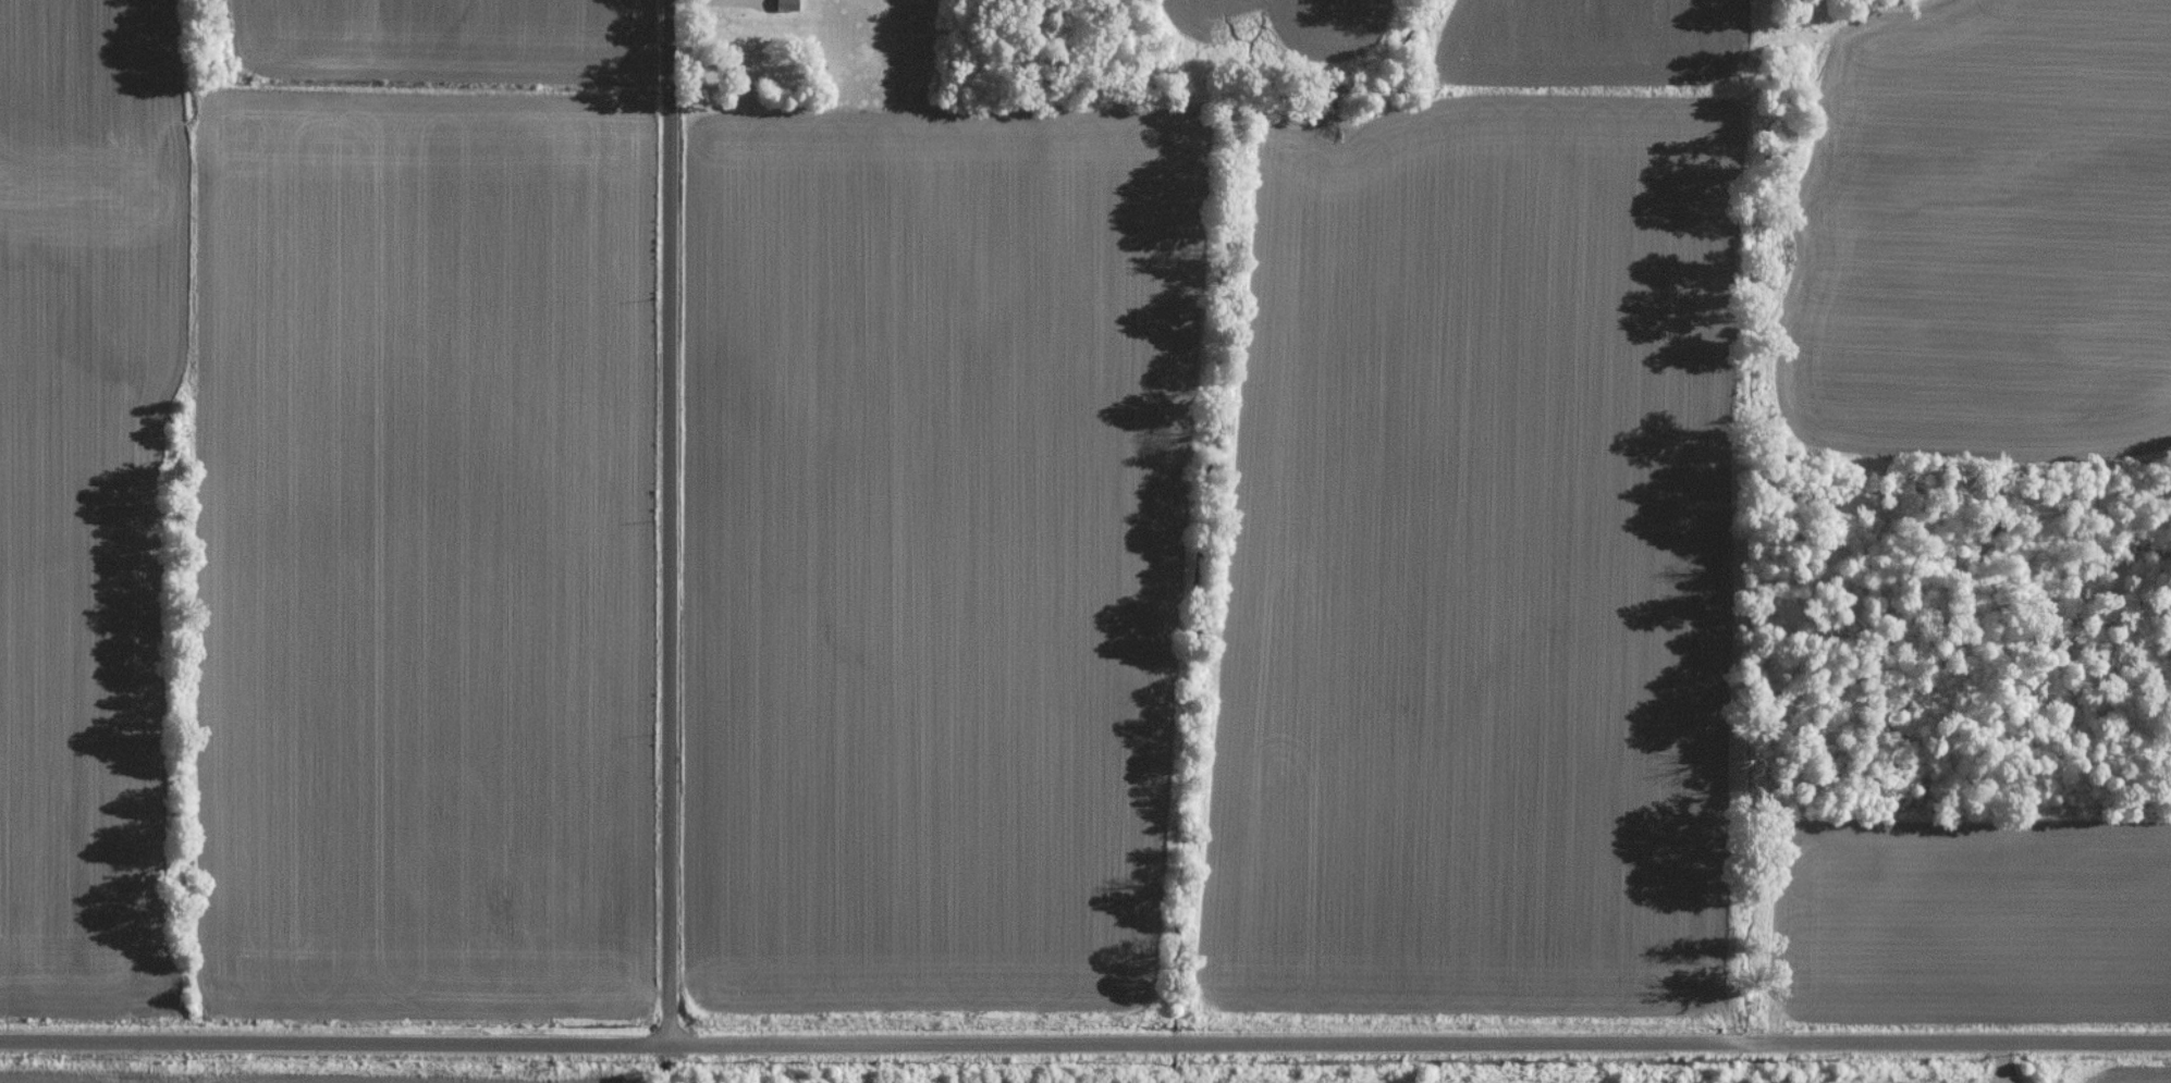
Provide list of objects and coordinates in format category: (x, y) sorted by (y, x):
road: (686, 519)
road: (1084, 1036)
parking lot: (2001, 1069)

